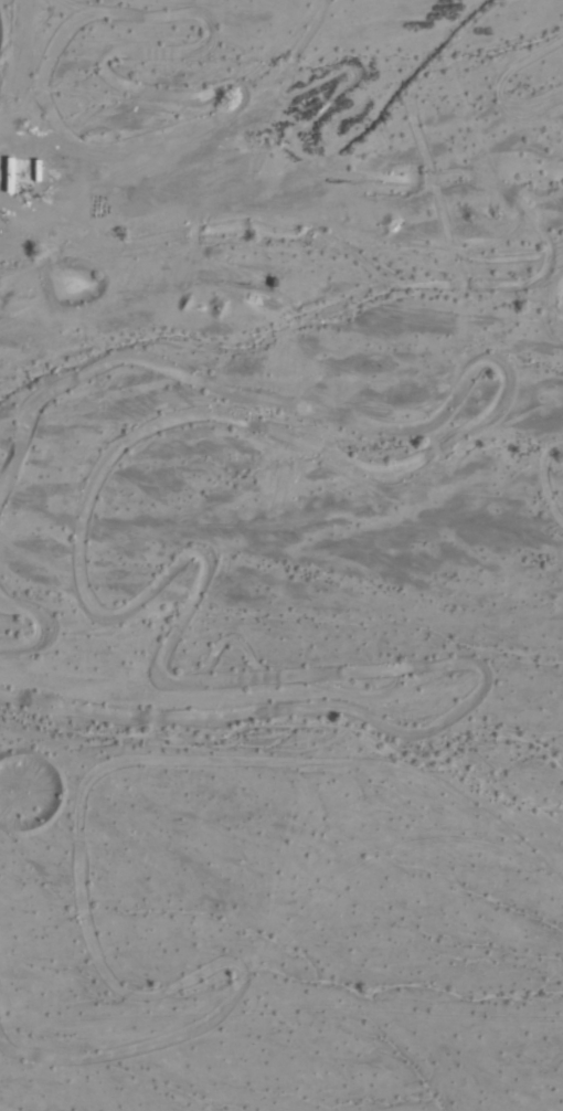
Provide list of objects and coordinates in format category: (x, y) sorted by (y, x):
building: (23, 177)

